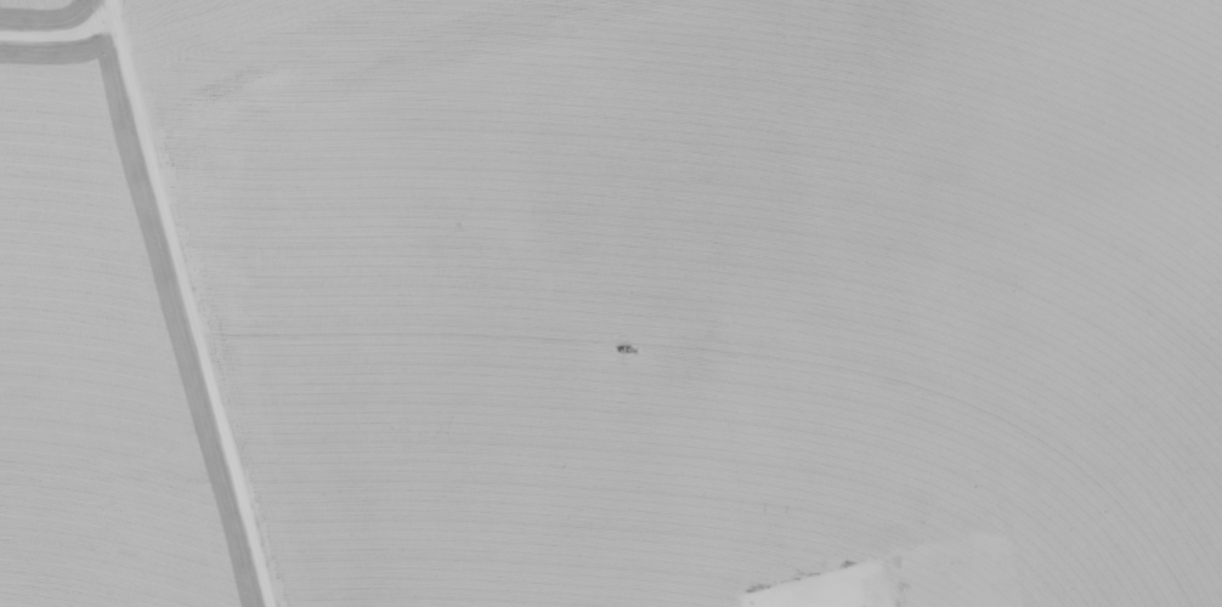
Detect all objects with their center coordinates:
road: (708, 303)

